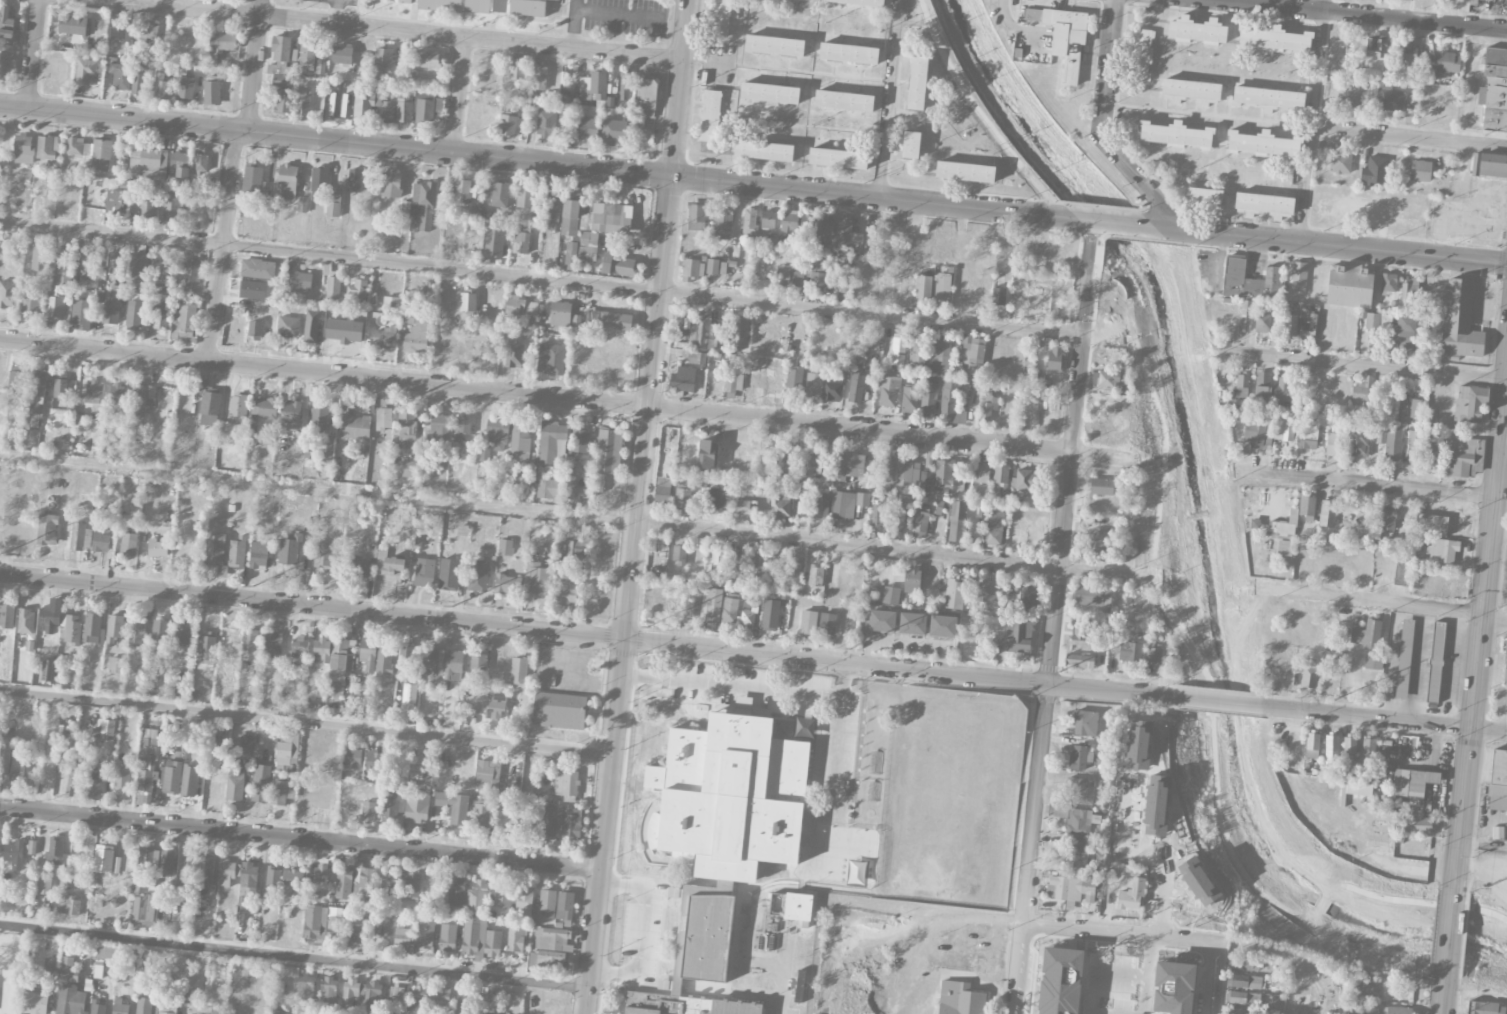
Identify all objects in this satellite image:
building: (320, 1)
building: (409, 2)
building: (858, 2)
building: (440, 5)
building: (477, 6)
building: (500, 6)
building: (528, 7)
park: (313, 10)
parking lot: (313, 10)
road: (336, 12)
road: (616, 13)
road: (1362, 14)
building: (720, 18)
building: (6, 23)
road: (572, 24)
building: (72, 25)
building: (149, 30)
road: (390, 30)
building: (119, 31)
building: (1197, 31)
building: (1064, 37)
building: (1275, 39)
building: (223, 44)
building: (774, 45)
building: (1375, 51)
building: (307, 53)
building: (848, 53)
road: (1113, 53)
building: (1407, 53)
road: (32, 55)
building: (342, 56)
building: (1140, 56)
building: (427, 59)
building: (384, 61)
building: (281, 63)
building: (321, 63)
road: (709, 63)
building: (1444, 64)
building: (7, 66)
road: (255, 66)
building: (517, 68)
building: (85, 72)
road: (813, 75)
building: (121, 77)
building: (539, 77)
building: (139, 80)
building: (917, 83)
road: (1472, 85)
building: (593, 86)
building: (624, 86)
building: (161, 87)
building: (186, 88)
building: (1494, 89)
building: (1191, 91)
building: (211, 93)
building: (770, 93)
road: (458, 96)
building: (1347, 98)
building: (1389, 98)
road: (891, 99)
building: (1268, 99)
building: (304, 101)
building: (844, 101)
building: (284, 103)
building: (643, 103)
building: (332, 104)
building: (366, 104)
building: (344, 106)
building: (427, 108)
building: (404, 110)
building: (388, 113)
building: (709, 116)
road: (1210, 117)
road: (1313, 121)
building: (545, 124)
building: (509, 126)
building: (586, 128)
building: (1176, 135)
road: (1409, 138)
building: (1264, 144)
road: (675, 145)
building: (911, 145)
building: (78, 147)
building: (49, 148)
building: (23, 150)
building: (764, 150)
building: (101, 154)
building: (838, 158)
building: (1340, 162)
road: (545, 163)
building: (201, 164)
building: (148, 165)
building: (1490, 166)
building: (179, 167)
building: (1420, 170)
building: (965, 171)
building: (1374, 171)
road: (1132, 172)
building: (253, 180)
building: (354, 181)
building: (287, 182)
building: (391, 184)
building: (461, 190)
building: (325, 191)
building: (499, 195)
building: (526, 197)
building: (1203, 198)
building: (117, 203)
building: (303, 205)
building: (1264, 205)
building: (147, 206)
building: (553, 207)
building: (172, 208)
building: (422, 208)
building: (405, 210)
building: (696, 216)
building: (570, 217)
building: (606, 218)
building: (768, 219)
building: (723, 221)
building: (749, 221)
building: (808, 222)
road: (1097, 222)
road: (1130, 225)
building: (827, 226)
building: (785, 230)
building: (847, 233)
building: (521, 239)
building: (494, 243)
road: (224, 246)
road: (1330, 246)
building: (581, 249)
building: (987, 253)
building: (39, 257)
road: (329, 257)
building: (87, 260)
building: (115, 260)
building: (618, 265)
building: (718, 267)
building: (63, 269)
building: (170, 269)
building: (258, 269)
building: (692, 269)
building: (191, 272)
building: (137, 273)
building: (790, 275)
building: (1299, 276)
building: (819, 279)
building: (1250, 280)
building: (300, 281)
building: (902, 283)
building: (1389, 283)
building: (1350, 285)
building: (923, 286)
building: (942, 286)
building: (844, 287)
building: (333, 288)
building: (252, 290)
building: (1409, 290)
building: (7, 295)
building: (999, 296)
building: (467, 302)
building: (31, 304)
building: (391, 305)
building: (521, 306)
building: (54, 307)
road: (871, 313)
building: (110, 314)
building: (134, 314)
building: (560, 314)
building: (81, 316)
building: (1245, 316)
building: (159, 319)
building: (609, 320)
building: (184, 321)
building: (1460, 321)
building: (1378, 322)
building: (531, 323)
building: (1263, 323)
building: (1290, 325)
building: (1308, 325)
building: (1406, 326)
building: (289, 327)
building: (311, 327)
building: (255, 330)
building: (703, 331)
building: (739, 333)
building: (417, 337)
building: (385, 338)
building: (898, 352)
building: (972, 353)
building: (513, 354)
building: (696, 357)
building: (917, 357)
building: (942, 357)
building: (554, 359)
building: (1055, 359)
road: (1363, 365)
building: (735, 376)
building: (683, 378)
building: (794, 378)
building: (1104, 378)
building: (15, 382)
building: (773, 384)
building: (814, 385)
building: (1242, 385)
building: (1262, 386)
building: (833, 387)
road: (1506, 387)
building: (856, 388)
building: (1283, 389)
building: (888, 391)
building: (60, 392)
building: (94, 393)
building: (118, 393)
building: (1359, 394)
building: (35, 399)
building: (910, 399)
building: (928, 399)
building: (141, 400)
road: (569, 400)
building: (951, 401)
building: (1469, 404)
building: (988, 406)
building: (265, 408)
building: (210, 409)
building: (1401, 409)
building: (238, 410)
building: (1420, 410)
building: (291, 415)
building: (319, 416)
building: (383, 419)
building: (439, 427)
building: (462, 427)
building: (354, 428)
building: (407, 429)
building: (1284, 429)
building: (496, 433)
building: (1258, 434)
building: (1308, 434)
building: (553, 440)
building: (580, 440)
building: (1414, 440)
building: (1357, 441)
building: (521, 442)
building: (1333, 442)
building: (1390, 442)
building: (1432, 447)
building: (326, 449)
building: (609, 452)
road: (1164, 452)
building: (484, 453)
road: (1503, 454)
building: (1458, 458)
building: (928, 462)
building: (848, 465)
building: (813, 466)
building: (409, 470)
building: (887, 471)
building: (981, 473)
building: (906, 474)
building: (944, 474)
building: (999, 477)
building: (1024, 481)
building: (570, 484)
building: (925, 484)
road: (1366, 484)
building: (1101, 486)
building: (547, 488)
building: (662, 491)
building: (682, 498)
building: (719, 498)
building: (849, 505)
building: (779, 506)
building: (746, 507)
building: (803, 507)
building: (1307, 507)
building: (821, 508)
building: (1327, 513)
road: (565, 516)
building: (880, 516)
building: (1387, 518)
building: (898, 520)
building: (920, 522)
building: (957, 522)
building: (1431, 525)
building: (1282, 527)
building: (994, 528)
building: (47, 530)
building: (462, 530)
building: (81, 538)
building: (1098, 542)
building: (101, 543)
building: (129, 544)
building: (504, 547)
building: (575, 548)
building: (157, 549)
building: (289, 551)
building: (1447, 551)
building: (216, 553)
building: (237, 553)
building: (678, 554)
building: (324, 555)
building: (258, 556)
building: (718, 556)
building: (388, 563)
building: (357, 567)
building: (1401, 570)
building: (424, 573)
building: (794, 574)
building: (479, 575)
building: (815, 576)
building: (537, 578)
building: (931, 578)
building: (911, 580)
building: (506, 584)
power tower: (253, 586)
building: (568, 587)
building: (953, 592)
building: (891, 595)
building: (987, 596)
building: (1092, 596)
building: (1029, 597)
road: (1371, 600)
building: (704, 604)
power tower: (451, 607)
building: (730, 610)
building: (748, 613)
building: (770, 615)
building: (7, 616)
road: (1054, 618)
building: (46, 620)
building: (882, 621)
building: (26, 622)
building: (808, 622)
road: (1495, 622)
building: (827, 623)
building: (912, 623)
building: (942, 626)
power tower: (647, 627)
building: (114, 628)
building: (93, 629)
building: (70, 630)
building: (136, 632)
building: (160, 632)
building: (182, 634)
building: (1366, 634)
road: (1482, 634)
building: (1078, 635)
road: (587, 636)
building: (1018, 637)
building: (274, 644)
building: (250, 645)
building: (300, 646)
building: (207, 649)
power tower: (850, 649)
building: (368, 650)
building: (321, 652)
building: (1130, 652)
road: (623, 653)
building: (1153, 655)
building: (340, 657)
building: (384, 659)
building: (1404, 659)
building: (1079, 661)
building: (408, 662)
building: (429, 662)
building: (477, 662)
building: (1373, 662)
building: (1435, 662)
building: (116, 665)
building: (453, 665)
building: (1505, 666)
building: (369, 667)
building: (47, 671)
power tower: (1060, 671)
building: (1306, 671)
building: (518, 673)
road: (843, 681)
building: (253, 691)
road: (784, 692)
building: (409, 694)
power tower: (1333, 700)
road: (1220, 702)
building: (494, 705)
building: (559, 710)
road: (1386, 720)
road: (306, 722)
building: (1085, 723)
building: (106, 730)
building: (1312, 745)
building: (1368, 747)
building: (1331, 749)
building: (1349, 749)
building: (257, 751)
building: (5, 752)
building: (246, 753)
building: (283, 754)
building: (352, 758)
building: (1080, 758)
building: (146, 765)
building: (418, 765)
building: (373, 767)
building: (18, 774)
building: (485, 774)
building: (122, 777)
building: (171, 778)
building: (1497, 780)
building: (189, 782)
building: (1412, 782)
building: (566, 783)
building: (261, 784)
building: (73, 787)
building: (235, 787)
building: (95, 790)
building: (1080, 791)
building: (278, 793)
building: (731, 796)
building: (393, 804)
building: (453, 806)
building: (416, 809)
building: (368, 812)
building: (481, 815)
building: (1080, 821)
building: (552, 822)
building: (572, 823)
building: (1418, 825)
building: (1498, 832)
road: (300, 840)
road: (1484, 845)
building: (31, 848)
building: (56, 853)
building: (1077, 854)
road: (1147, 854)
building: (14, 855)
building: (149, 860)
building: (103, 863)
building: (167, 863)
building: (187, 868)
building: (205, 870)
building: (227, 873)
building: (322, 875)
building: (367, 877)
building: (273, 878)
building: (248, 880)
building: (293, 881)
building: (343, 883)
building: (388, 884)
building: (411, 885)
building: (44, 886)
building: (1071, 889)
building: (456, 891)
building: (477, 895)
building: (502, 895)
building: (1131, 895)
building: (524, 900)
building: (547, 902)
road: (1322, 902)
road: (1416, 902)
building: (68, 905)
building: (565, 906)
building: (798, 907)
building: (144, 908)
building: (336, 920)
building: (315, 923)
road: (1062, 924)
building: (358, 931)
road: (647, 931)
building: (425, 934)
building: (403, 937)
building: (447, 938)
building: (474, 939)
building: (552, 939)
building: (515, 940)
road: (1452, 940)
building: (493, 944)
road: (294, 954)
building: (104, 956)
building: (547, 959)
building: (696, 959)
building: (1245, 961)
building: (51, 966)
building: (68, 971)
road: (785, 973)
road: (1150, 974)
road: (1223, 978)
building: (1246, 982)
building: (306, 988)
building: (1397, 989)
building: (1364, 990)
building: (328, 991)
building: (361, 997)
building: (418, 997)
building: (1238, 997)
building: (461, 998)
building: (960, 999)
building: (71, 1000)
building: (441, 1000)
building: (486, 1002)
building: (37, 1003)
road: (1445, 1003)
building: (144, 1006)
building: (119, 1007)
building: (1484, 1008)
building: (98, 1009)
building: (167, 1009)
building: (1396, 1010)
building: (1240, 1011)
building: (279, 1012)
building: (1335, 1013)

